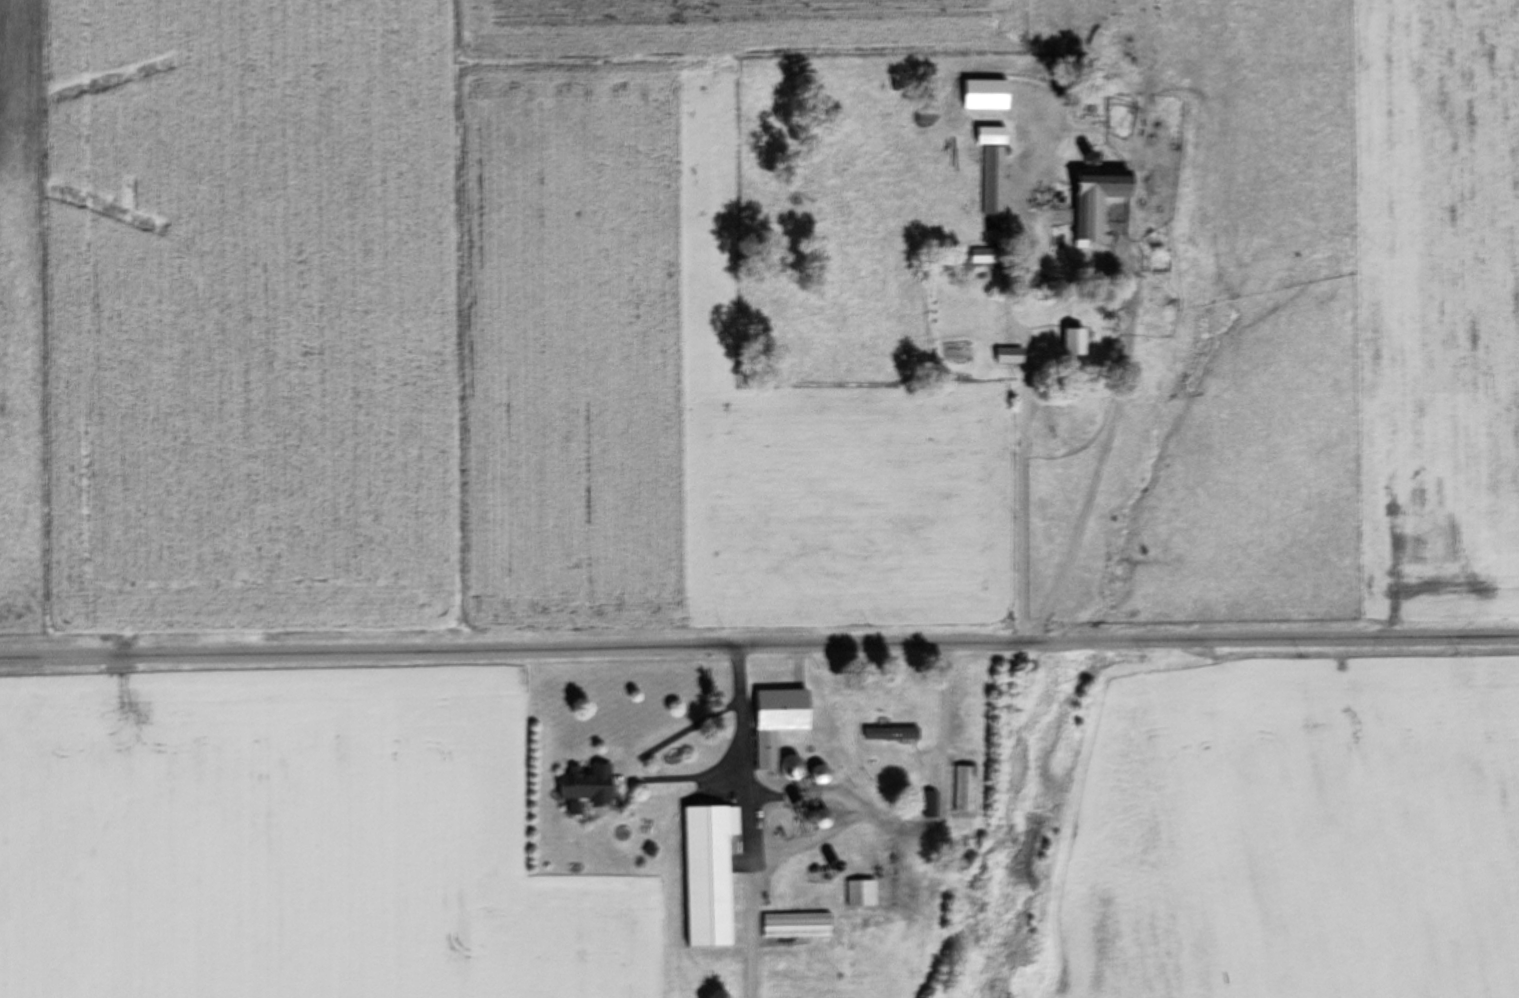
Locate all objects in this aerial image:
building: (1037, 105)
building: (993, 168)
building: (1096, 200)
building: (1074, 343)
building: (1009, 356)
road: (759, 646)
building: (777, 722)
building: (891, 734)
building: (790, 769)
building: (587, 787)
building: (964, 789)
road: (861, 811)
building: (820, 820)
building: (709, 874)
building: (861, 893)
building: (797, 925)

